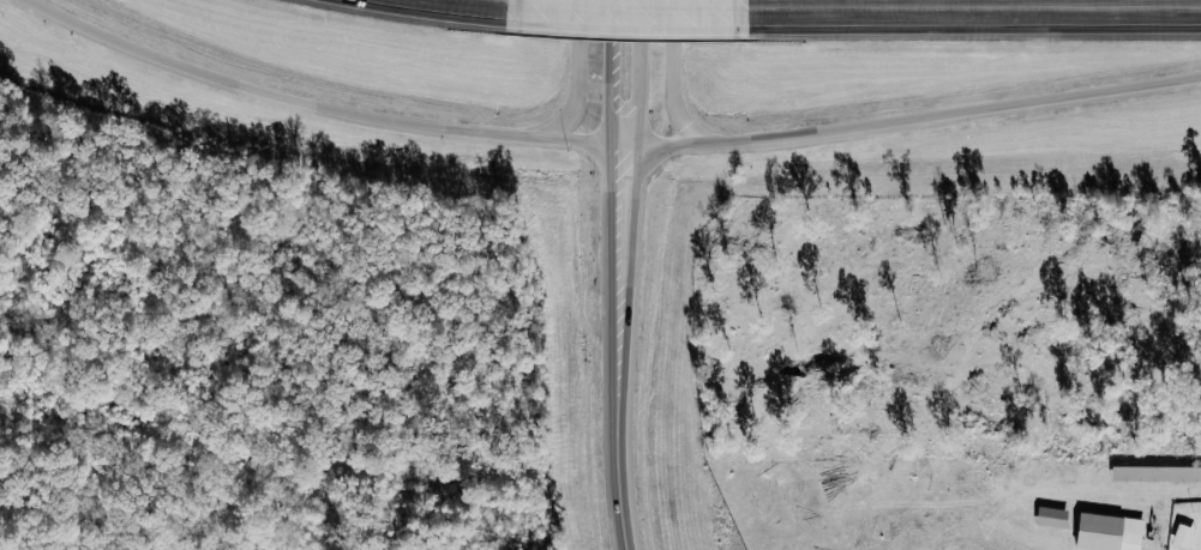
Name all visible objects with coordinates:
road: (492, 2)
road: (623, 8)
road: (968, 11)
road: (586, 75)
road: (615, 77)
road: (649, 78)
road: (678, 78)
road: (319, 107)
road: (914, 122)
road: (615, 351)
building: (1158, 473)
building: (1055, 516)
building: (1111, 532)
building: (1187, 536)

